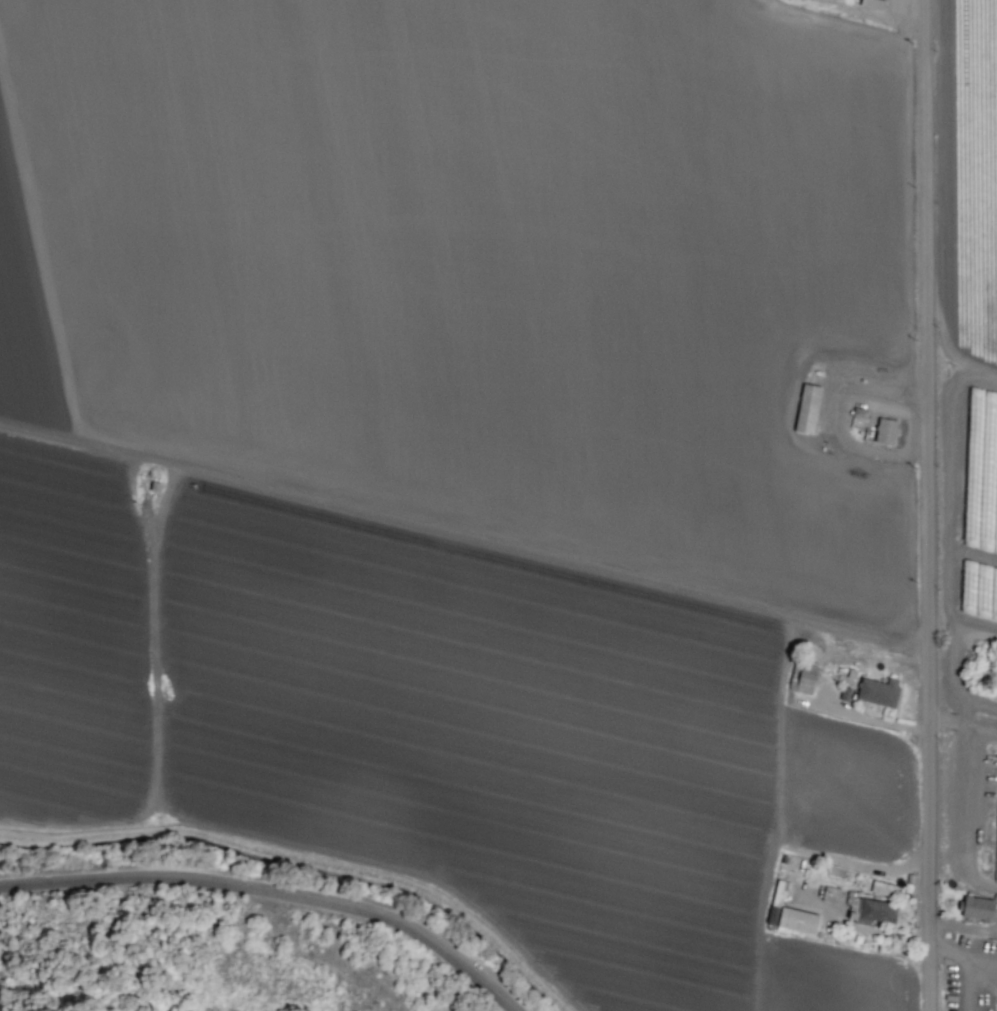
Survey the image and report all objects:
building: (873, 4)
building: (806, 409)
building: (885, 431)
crop: (477, 467)
crop: (976, 499)
road: (931, 505)
building: (802, 678)
building: (878, 692)
building: (845, 693)
road: (965, 887)
road: (273, 895)
building: (830, 895)
building: (977, 908)
building: (875, 911)
building: (789, 913)

